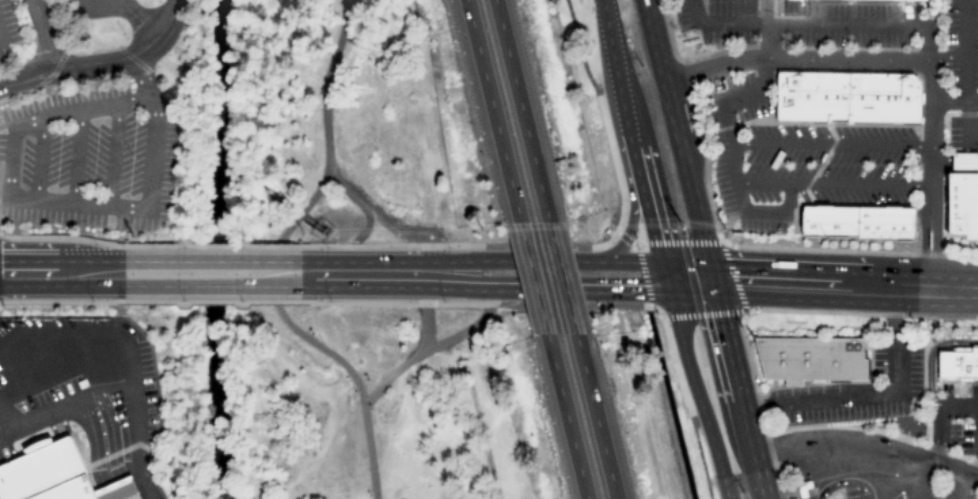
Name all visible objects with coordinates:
building: (865, 0)
parking lot: (147, 12)
road: (132, 20)
parking lot: (720, 21)
parking lot: (8, 34)
road: (41, 35)
road: (927, 60)
road: (101, 62)
road: (748, 64)
building: (844, 96)
road: (954, 101)
road: (492, 111)
road: (520, 111)
parking lot: (961, 131)
road: (635, 140)
road: (616, 141)
road: (110, 153)
road: (74, 156)
parking lot: (89, 157)
road: (36, 158)
building: (961, 198)
road: (47, 201)
road: (620, 205)
road: (377, 219)
building: (854, 225)
road: (356, 241)
river: (205, 249)
road: (704, 249)
road: (922, 249)
road: (935, 249)
road: (271, 257)
road: (521, 262)
road: (435, 264)
road: (633, 264)
road: (61, 274)
road: (211, 274)
road: (325, 274)
road: (394, 274)
road: (445, 275)
road: (532, 279)
road: (562, 279)
traffic signals: (669, 282)
traffic signals: (712, 282)
road: (823, 286)
road: (560, 288)
road: (425, 314)
road: (664, 322)
street lamp: (311, 334)
road: (51, 342)
road: (433, 347)
road: (929, 357)
building: (808, 359)
building: (957, 364)
street lamp: (366, 380)
parking lot: (908, 382)
road: (697, 390)
road: (117, 393)
road: (848, 400)
street lamp: (370, 409)
road: (565, 417)
road: (596, 417)
parking lot: (959, 417)
road: (939, 421)
road: (112, 439)
road: (92, 446)
road: (869, 450)
building: (61, 474)
road: (913, 478)
road: (845, 481)
road: (897, 487)
road: (960, 488)
road: (123, 489)
road: (106, 492)
parking lot: (941, 492)
parking lot: (857, 494)
street lamp: (369, 496)
parking lot: (896, 496)
parking lot: (973, 496)

